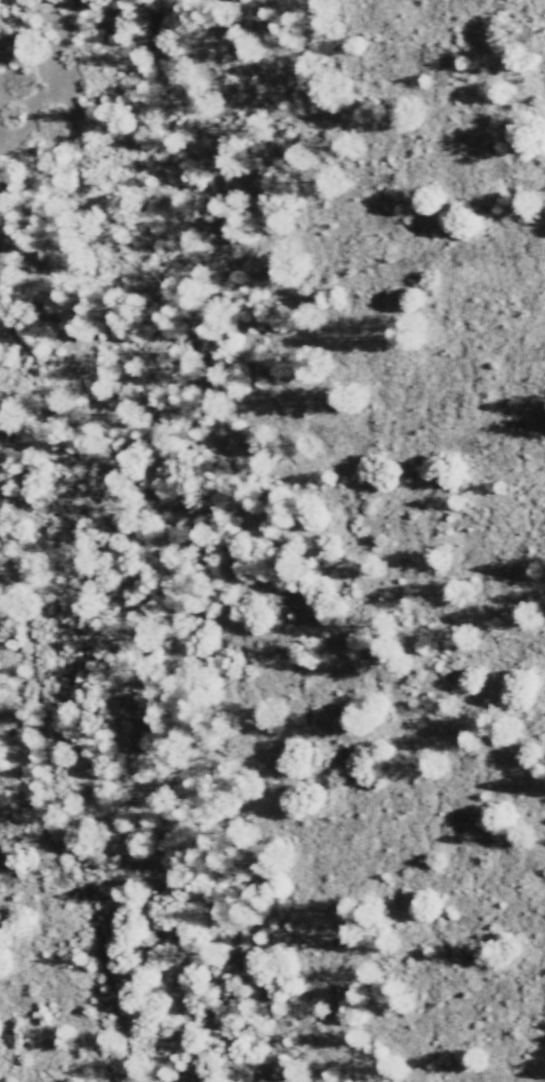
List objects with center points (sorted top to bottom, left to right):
road: (62, 805)

